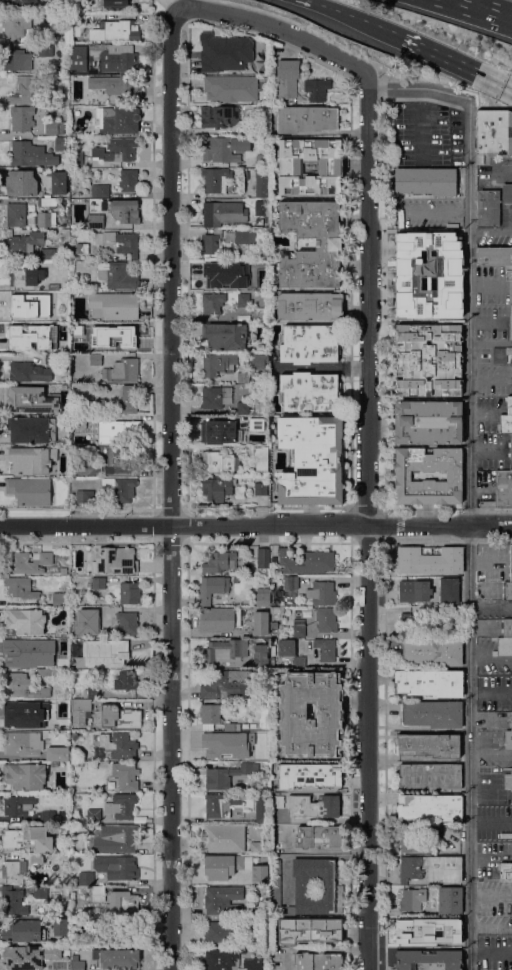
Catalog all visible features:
building: (24, 3)
building: (115, 3)
road: (485, 9)
road: (349, 14)
building: (75, 24)
building: (15, 25)
road: (275, 26)
road: (312, 29)
building: (114, 30)
building: (45, 49)
building: (224, 51)
road: (450, 57)
building: (78, 58)
building: (119, 58)
building: (16, 59)
building: (92, 71)
building: (288, 77)
building: (65, 78)
building: (73, 78)
building: (118, 85)
building: (230, 87)
building: (24, 89)
building: (317, 89)
building: (65, 100)
building: (219, 115)
building: (22, 117)
building: (98, 117)
building: (306, 118)
building: (120, 119)
building: (54, 127)
building: (251, 127)
building: (493, 131)
building: (61, 143)
building: (224, 148)
building: (117, 149)
building: (31, 154)
building: (77, 159)
building: (262, 160)
building: (329, 166)
road: (505, 170)
building: (245, 174)
building: (215, 179)
building: (128, 180)
building: (426, 181)
building: (58, 182)
building: (262, 182)
building: (22, 183)
building: (100, 190)
building: (47, 201)
building: (492, 204)
building: (261, 207)
building: (123, 210)
building: (223, 213)
building: (16, 214)
building: (45, 218)
building: (96, 221)
road: (509, 228)
building: (244, 236)
building: (25, 241)
building: (118, 242)
building: (210, 243)
building: (328, 243)
building: (82, 248)
building: (48, 253)
building: (494, 255)
road: (469, 262)
building: (25, 274)
building: (117, 274)
building: (224, 274)
building: (427, 274)
building: (509, 279)
building: (53, 287)
building: (243, 299)
building: (213, 302)
building: (115, 304)
building: (30, 305)
building: (310, 305)
building: (262, 312)
building: (511, 321)
building: (114, 324)
building: (225, 335)
building: (130, 336)
building: (26, 337)
building: (309, 343)
building: (259, 347)
building: (501, 353)
building: (50, 358)
building: (95, 358)
building: (428, 360)
building: (257, 361)
building: (218, 363)
building: (27, 369)
building: (122, 370)
building: (243, 377)
building: (309, 391)
building: (215, 396)
building: (127, 399)
building: (32, 400)
building: (244, 407)
building: (507, 417)
building: (428, 421)
building: (78, 422)
building: (256, 422)
building: (32, 429)
building: (117, 430)
building: (219, 431)
building: (509, 454)
building: (260, 457)
building: (31, 459)
building: (311, 459)
building: (118, 460)
building: (220, 462)
building: (88, 467)
building: (403, 476)
road: (170, 487)
building: (119, 488)
building: (217, 488)
building: (260, 488)
building: (501, 489)
building: (29, 490)
building: (84, 495)
road: (366, 520)
road: (183, 525)
road: (439, 525)
building: (263, 557)
building: (116, 559)
building: (430, 559)
building: (27, 561)
building: (220, 561)
building: (306, 561)
building: (510, 562)
building: (63, 570)
building: (290, 581)
building: (98, 582)
building: (21, 587)
building: (212, 588)
building: (417, 590)
building: (449, 590)
building: (129, 591)
building: (322, 592)
building: (263, 596)
building: (59, 599)
building: (275, 610)
building: (93, 612)
building: (440, 612)
building: (219, 619)
building: (326, 619)
building: (25, 620)
building: (87, 620)
building: (260, 621)
building: (128, 622)
building: (410, 622)
building: (273, 624)
building: (299, 627)
building: (507, 628)
building: (273, 641)
building: (61, 642)
building: (51, 644)
building: (286, 647)
building: (503, 647)
building: (325, 648)
building: (224, 650)
building: (433, 651)
building: (102, 653)
building: (20, 654)
building: (260, 655)
building: (299, 661)
building: (43, 672)
building: (126, 680)
building: (430, 682)
building: (226, 683)
building: (24, 686)
building: (85, 699)
building: (25, 713)
building: (433, 713)
building: (212, 714)
building: (329, 714)
building: (117, 716)
building: (511, 720)
building: (245, 725)
building: (253, 725)
building: (232, 726)
building: (244, 733)
building: (508, 739)
building: (22, 743)
building: (119, 744)
building: (217, 745)
building: (428, 745)
road: (469, 748)
building: (62, 754)
building: (231, 756)
building: (54, 763)
building: (25, 775)
building: (126, 775)
building: (227, 775)
building: (309, 775)
building: (431, 775)
building: (508, 780)
building: (277, 801)
building: (19, 804)
building: (221, 804)
building: (121, 806)
building: (313, 806)
building: (430, 806)
building: (261, 807)
building: (93, 814)
building: (49, 816)
building: (318, 836)
building: (222, 837)
building: (28, 838)
building: (116, 838)
building: (411, 841)
building: (256, 847)
road: (12, 849)
building: (36, 858)
building: (223, 865)
building: (22, 866)
building: (117, 867)
building: (431, 868)
building: (259, 871)
building: (505, 871)
building: (11, 872)
building: (84, 878)
building: (307, 887)
building: (40, 891)
building: (98, 893)
building: (72, 895)
building: (412, 899)
building: (450, 899)
building: (222, 900)
building: (12, 901)
building: (122, 903)
building: (256, 924)
building: (60, 926)
building: (122, 930)
building: (310, 930)
building: (426, 930)
building: (24, 931)
building: (219, 932)
building: (243, 950)
building: (29, 956)
building: (117, 959)
building: (221, 959)
building: (428, 960)
building: (318, 961)
building: (253, 963)
building: (77, 965)

